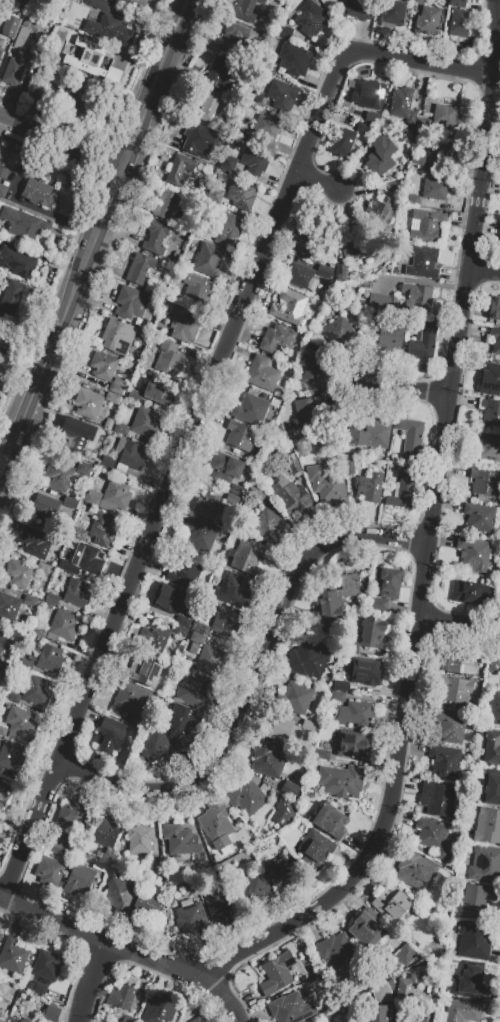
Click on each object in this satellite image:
building: (125, 1)
building: (418, 1)
building: (457, 3)
building: (359, 8)
building: (247, 9)
building: (393, 12)
building: (309, 18)
building: (428, 19)
building: (459, 22)
building: (11, 23)
building: (107, 24)
building: (20, 36)
building: (233, 37)
building: (1, 52)
building: (91, 60)
building: (295, 63)
building: (268, 67)
building: (12, 72)
building: (218, 72)
road: (148, 82)
road: (159, 83)
building: (281, 94)
building: (38, 96)
building: (373, 96)
building: (74, 99)
building: (402, 104)
building: (208, 106)
building: (446, 112)
building: (366, 115)
building: (422, 124)
building: (265, 126)
building: (364, 128)
building: (241, 132)
building: (193, 136)
road: (62, 139)
building: (343, 142)
building: (440, 148)
building: (380, 156)
building: (254, 160)
building: (418, 160)
building: (228, 162)
building: (178, 169)
building: (3, 172)
road: (318, 184)
building: (435, 189)
building: (2, 191)
road: (114, 192)
building: (39, 193)
building: (241, 195)
building: (412, 200)
road: (21, 203)
building: (166, 203)
building: (379, 214)
building: (427, 225)
building: (22, 226)
building: (227, 228)
building: (307, 232)
building: (155, 237)
building: (355, 244)
building: (499, 245)
building: (208, 260)
building: (421, 261)
building: (19, 263)
building: (139, 268)
building: (324, 271)
building: (341, 273)
road: (485, 273)
building: (300, 275)
building: (197, 288)
building: (417, 298)
building: (11, 300)
building: (128, 301)
building: (379, 301)
building: (290, 307)
building: (494, 308)
building: (182, 324)
building: (338, 332)
building: (117, 336)
building: (277, 338)
building: (495, 338)
building: (390, 339)
building: (423, 342)
road: (51, 346)
building: (315, 348)
building: (1, 357)
building: (169, 359)
building: (103, 365)
building: (261, 373)
building: (315, 373)
building: (492, 375)
building: (116, 388)
road: (14, 391)
road: (409, 391)
building: (157, 392)
building: (134, 395)
building: (113, 397)
building: (87, 404)
building: (307, 407)
building: (251, 408)
road: (200, 409)
building: (490, 411)
building: (145, 422)
building: (121, 428)
building: (99, 431)
building: (372, 434)
building: (410, 434)
building: (240, 436)
building: (76, 437)
building: (487, 447)
building: (132, 455)
building: (107, 461)
road: (2, 462)
building: (349, 465)
building: (224, 467)
building: (296, 467)
building: (85, 471)
building: (60, 478)
building: (327, 483)
building: (484, 483)
building: (369, 487)
building: (236, 489)
building: (402, 490)
building: (258, 491)
building: (118, 496)
building: (232, 499)
building: (294, 500)
building: (71, 504)
building: (209, 505)
building: (46, 508)
building: (479, 517)
building: (268, 527)
building: (103, 528)
building: (200, 534)
road: (430, 536)
building: (34, 542)
building: (474, 554)
building: (248, 558)
building: (84, 561)
building: (43, 568)
building: (18, 574)
building: (184, 574)
building: (388, 582)
building: (351, 584)
building: (235, 589)
building: (77, 593)
building: (471, 593)
building: (51, 598)
building: (170, 598)
building: (30, 601)
building: (377, 604)
building: (8, 607)
building: (329, 607)
building: (225, 620)
building: (182, 621)
building: (63, 625)
road: (459, 625)
building: (200, 628)
building: (179, 630)
building: (39, 631)
building: (372, 633)
building: (17, 634)
building: (197, 637)
building: (155, 638)
building: (2, 639)
building: (50, 658)
building: (309, 659)
building: (460, 659)
building: (209, 660)
building: (494, 662)
building: (5, 667)
building: (364, 671)
building: (145, 673)
building: (340, 674)
road: (257, 684)
building: (340, 685)
building: (34, 689)
building: (456, 691)
building: (193, 692)
building: (336, 696)
building: (12, 697)
building: (294, 698)
building: (0, 700)
building: (131, 700)
building: (495, 708)
building: (354, 714)
building: (181, 724)
building: (20, 725)
building: (451, 727)
building: (278, 728)
building: (3, 730)
building: (109, 739)
building: (354, 745)
building: (155, 746)
building: (492, 749)
building: (322, 754)
building: (11, 756)
building: (268, 759)
building: (445, 761)
building: (339, 780)
building: (290, 789)
building: (491, 791)
building: (247, 796)
building: (438, 798)
building: (5, 800)
building: (282, 811)
building: (73, 814)
building: (216, 821)
building: (330, 821)
building: (487, 826)
building: (106, 833)
building: (433, 837)
building: (138, 838)
building: (0, 839)
building: (180, 840)
building: (73, 841)
building: (155, 844)
building: (163, 847)
building: (60, 849)
building: (314, 850)
building: (485, 864)
building: (48, 870)
building: (416, 871)
building: (283, 875)
building: (78, 879)
building: (255, 889)
building: (119, 894)
building: (477, 900)
building: (391, 903)
building: (146, 904)
building: (219, 909)
building: (191, 917)
building: (366, 928)
building: (1, 937)
building: (474, 940)
road: (127, 952)
building: (404, 953)
building: (12, 955)
building: (339, 955)
building: (46, 965)
building: (276, 973)
building: (468, 981)
road: (90, 982)
building: (406, 984)
building: (38, 987)
building: (381, 991)
building: (121, 996)
building: (288, 1008)
building: (155, 1010)
building: (462, 1010)
building: (52, 1012)
building: (383, 1013)
building: (418, 1018)
building: (128, 1019)
building: (1, 1020)
building: (22, 1020)
building: (196, 1020)

